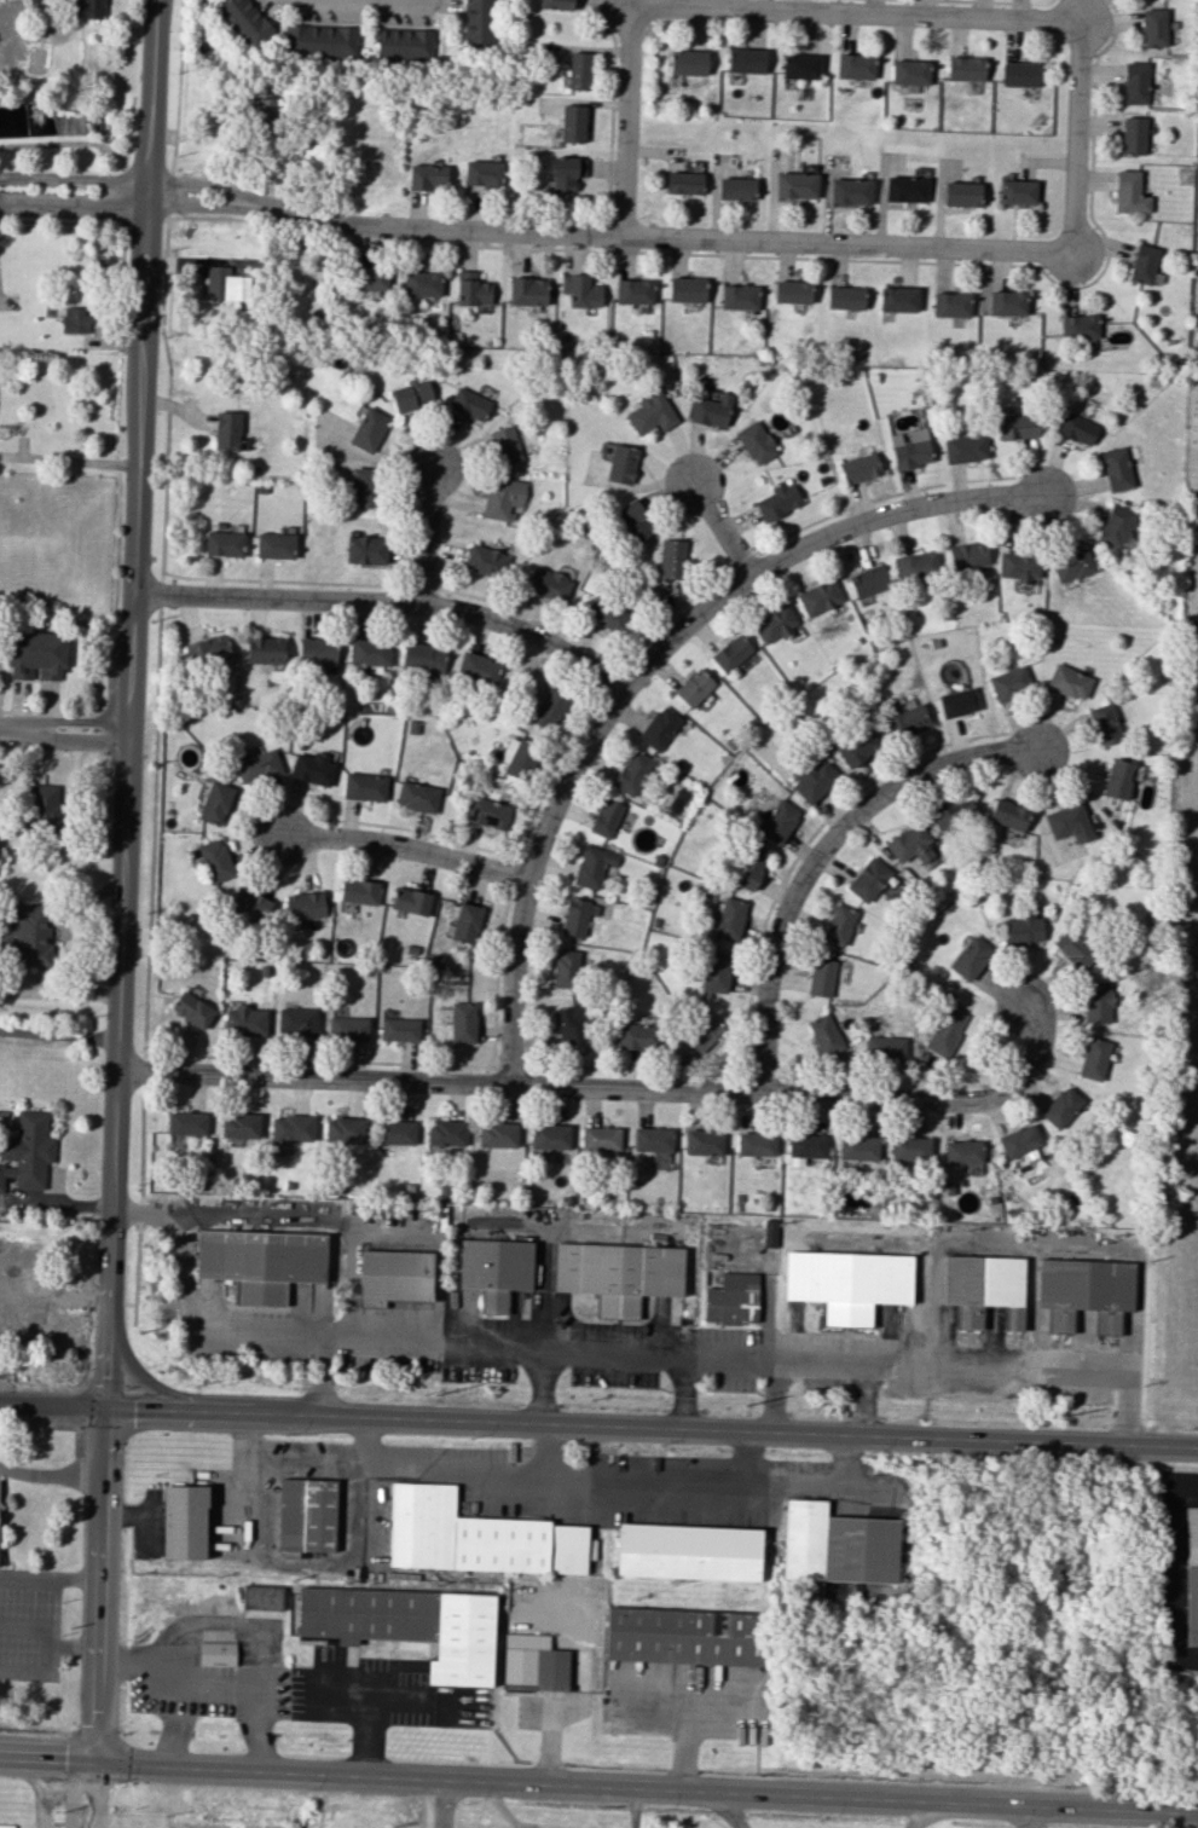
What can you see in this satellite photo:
road: (389, 1)
building: (555, 4)
building: (88, 8)
building: (244, 21)
building: (478, 23)
building: (1153, 27)
building: (320, 40)
building: (404, 44)
building: (745, 60)
building: (687, 62)
building: (799, 65)
building: (853, 65)
building: (963, 68)
building: (578, 70)
building: (909, 71)
building: (1019, 74)
building: (1134, 82)
road: (179, 87)
road: (151, 91)
building: (264, 115)
road: (625, 118)
building: (572, 123)
building: (1133, 135)
road: (93, 145)
road: (127, 164)
building: (566, 172)
building: (482, 173)
building: (427, 177)
road: (73, 179)
building: (683, 183)
building: (795, 185)
road: (210, 186)
building: (905, 186)
building: (735, 189)
building: (850, 191)
building: (1015, 191)
building: (1129, 192)
building: (960, 193)
road: (74, 203)
road: (209, 207)
road: (1034, 251)
building: (1145, 265)
building: (369, 278)
building: (421, 283)
building: (225, 284)
building: (471, 289)
building: (685, 289)
building: (580, 290)
building: (527, 291)
building: (632, 291)
building: (792, 291)
building: (739, 296)
building: (844, 297)
building: (898, 299)
building: (1006, 302)
building: (949, 305)
building: (74, 319)
building: (1080, 328)
building: (411, 395)
building: (468, 404)
building: (710, 407)
building: (649, 413)
building: (1018, 426)
building: (1076, 428)
building: (226, 429)
building: (367, 429)
building: (754, 442)
building: (502, 445)
building: (965, 447)
building: (910, 449)
road: (69, 459)
building: (620, 463)
building: (858, 468)
building: (1116, 469)
building: (360, 486)
building: (502, 497)
building: (777, 501)
building: (632, 520)
building: (1116, 526)
road: (723, 528)
road: (426, 533)
building: (222, 543)
building: (273, 545)
building: (364, 549)
building: (967, 555)
building: (670, 559)
building: (485, 561)
building: (1018, 565)
building: (1072, 565)
building: (918, 566)
building: (868, 582)
building: (548, 584)
building: (818, 596)
road: (386, 601)
building: (606, 613)
road: (94, 623)
building: (774, 624)
building: (207, 649)
building: (265, 649)
building: (316, 650)
building: (369, 653)
building: (730, 653)
building: (35, 654)
building: (422, 656)
road: (643, 663)
building: (476, 667)
building: (1067, 681)
building: (1009, 682)
road: (1, 684)
building: (694, 687)
building: (957, 702)
building: (549, 708)
building: (905, 722)
building: (1104, 723)
building: (659, 728)
road: (63, 731)
building: (856, 747)
building: (517, 756)
building: (255, 767)
building: (311, 768)
building: (632, 771)
building: (814, 779)
building: (1117, 779)
building: (363, 786)
building: (416, 796)
building: (215, 803)
building: (44, 809)
building: (486, 812)
building: (1007, 814)
building: (953, 816)
building: (606, 817)
building: (777, 821)
building: (1067, 822)
building: (909, 844)
road: (405, 848)
road: (818, 849)
building: (215, 860)
building: (592, 866)
building: (748, 868)
building: (867, 879)
building: (359, 891)
building: (410, 901)
building: (250, 902)
building: (305, 906)
building: (574, 916)
building: (730, 918)
building: (467, 922)
building: (838, 924)
building: (1022, 930)
building: (28, 935)
building: (1075, 950)
park: (1179, 954)
building: (970, 958)
building: (566, 968)
building: (716, 972)
road: (122, 973)
building: (821, 977)
building: (1095, 1002)
building: (191, 1010)
building: (244, 1022)
building: (296, 1022)
building: (462, 1022)
building: (571, 1024)
building: (347, 1028)
building: (398, 1029)
building: (944, 1030)
building: (702, 1032)
road: (60, 1034)
building: (635, 1036)
building: (824, 1036)
building: (884, 1048)
building: (1093, 1058)
road: (610, 1086)
building: (1060, 1106)
building: (186, 1123)
building: (239, 1126)
building: (291, 1128)
building: (343, 1129)
building: (397, 1132)
building: (445, 1133)
building: (497, 1134)
building: (549, 1136)
building: (600, 1138)
building: (652, 1139)
building: (1018, 1140)
building: (702, 1142)
building: (754, 1144)
building: (804, 1147)
building: (857, 1147)
building: (27, 1150)
building: (909, 1150)
building: (961, 1151)
building: (260, 1262)
building: (493, 1269)
building: (617, 1274)
building: (393, 1277)
building: (846, 1283)
building: (983, 1288)
building: (1084, 1291)
building: (730, 1300)
road: (608, 1349)
road: (325, 1378)
power tower: (192, 1383)
road: (542, 1386)
road: (682, 1392)
power tower: (435, 1395)
road: (775, 1396)
road: (196, 1398)
road: (862, 1400)
power tower: (743, 1408)
traffic signals: (108, 1412)
power tower: (1061, 1422)
road: (598, 1428)
road: (52, 1476)
building: (1, 1505)
building: (381, 1506)
building: (306, 1515)
building: (183, 1521)
building: (475, 1537)
building: (837, 1545)
building: (688, 1551)
building: (1191, 1575)
road: (50, 1578)
building: (261, 1596)
road: (36, 1625)
building: (407, 1626)
building: (683, 1636)
building: (215, 1653)
road: (50, 1662)
road: (174, 1679)
road: (250, 1697)
road: (369, 1724)
road: (51, 1760)
traffic signals: (102, 1763)
road: (138, 1764)
road: (270, 1770)
road: (781, 1793)
road: (45, 1794)
road: (71, 1794)
road: (100, 1795)
road: (444, 1803)
road: (500, 1805)
road: (633, 1806)
road: (727, 1809)
road: (922, 1815)
road: (1026, 1817)
building: (6, 1826)

